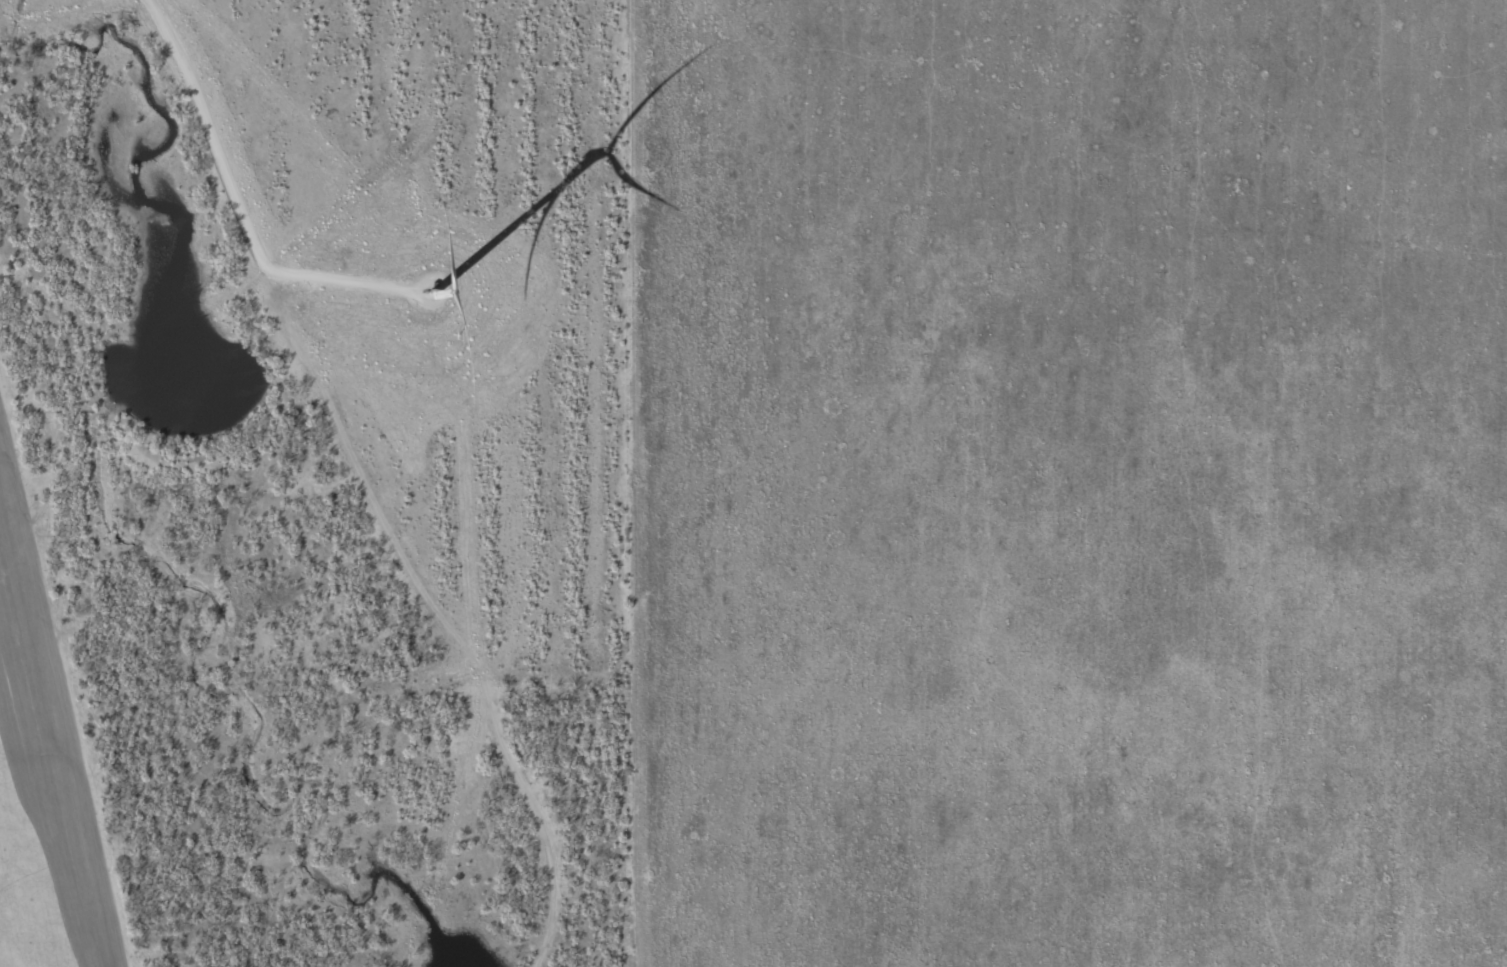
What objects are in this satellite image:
wind turbine: (430, 290)

